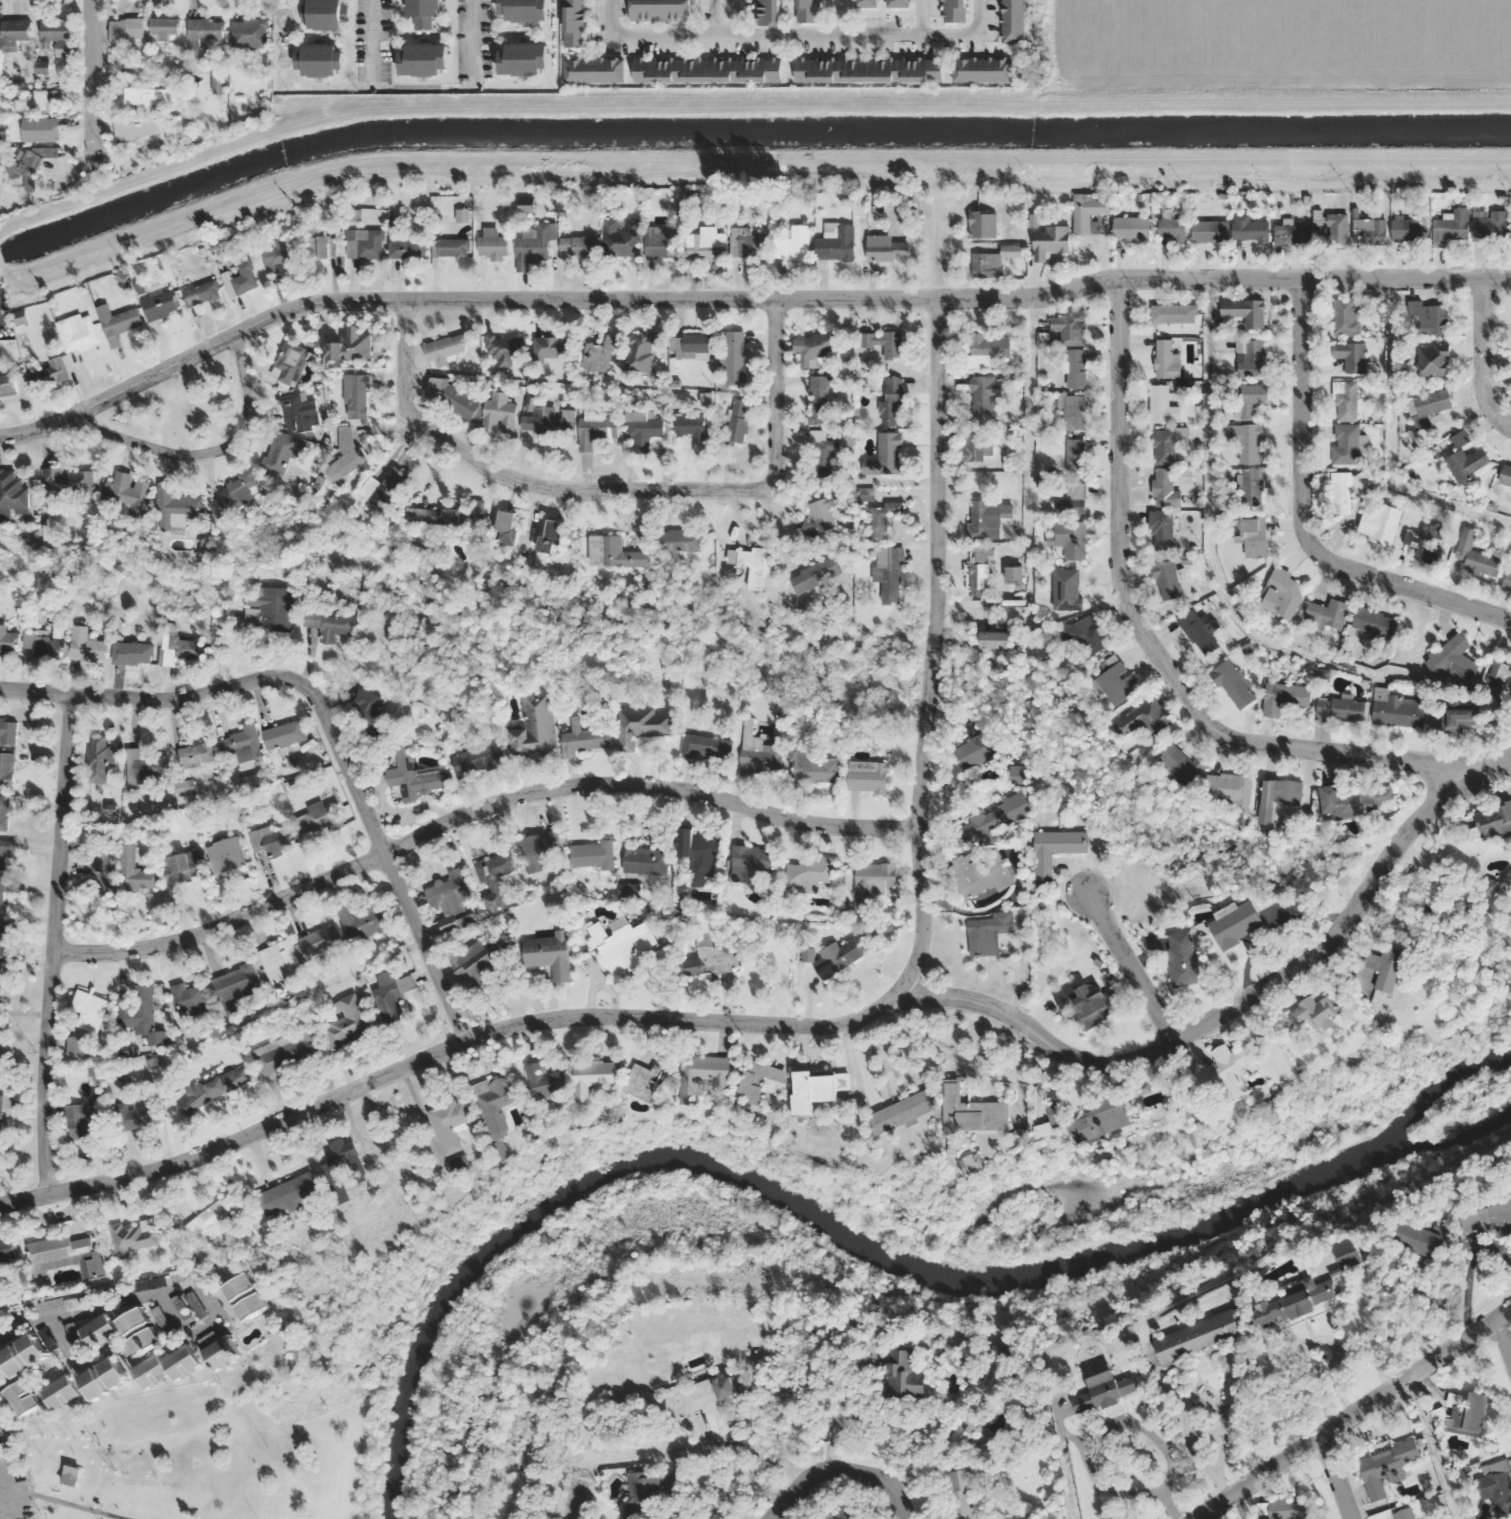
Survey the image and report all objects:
building: (864, 3)
building: (897, 3)
building: (522, 10)
building: (660, 10)
building: (954, 10)
building: (807, 11)
building: (423, 12)
building: (767, 12)
building: (321, 14)
road: (710, 17)
road: (736, 17)
road: (842, 17)
road: (920, 17)
building: (1012, 21)
building: (574, 22)
building: (165, 28)
building: (55, 29)
building: (125, 29)
building: (204, 30)
building: (14, 32)
building: (249, 32)
road: (789, 34)
road: (472, 36)
road: (373, 40)
building: (423, 58)
building: (522, 58)
building: (319, 59)
building: (114, 66)
building: (41, 68)
building: (868, 68)
building: (706, 69)
building: (982, 69)
building: (592, 70)
road: (93, 75)
building: (148, 97)
building: (39, 101)
building: (136, 128)
building: (40, 129)
building: (25, 162)
building: (1087, 213)
building: (983, 224)
building: (1510, 225)
building: (1490, 226)
building: (1128, 227)
building: (1337, 227)
building: (1451, 227)
building: (1173, 228)
building: (1252, 228)
building: (1410, 228)
building: (1211, 230)
building: (1372, 230)
building: (1292, 233)
building: (623, 236)
building: (709, 237)
building: (660, 241)
building: (1049, 241)
building: (364, 243)
building: (400, 243)
building: (749, 244)
building: (795, 244)
building: (836, 244)
building: (493, 245)
building: (577, 245)
building: (321, 246)
building: (533, 246)
building: (452, 248)
building: (886, 248)
building: (276, 256)
building: (986, 262)
building: (244, 278)
building: (201, 293)
road: (742, 296)
building: (160, 305)
building: (1245, 311)
building: (1174, 313)
building: (24, 314)
building: (1346, 317)
building: (1429, 317)
building: (117, 322)
building: (1069, 327)
building: (77, 332)
building: (656, 340)
building: (884, 342)
building: (351, 346)
building: (695, 346)
building: (813, 346)
building: (553, 347)
building: (445, 348)
building: (506, 349)
building: (987, 349)
building: (636, 353)
building: (597, 355)
building: (1350, 355)
road: (1481, 355)
building: (735, 356)
building: (1250, 357)
building: (1433, 359)
building: (1166, 360)
building: (291, 363)
building: (1076, 368)
building: (45, 370)
building: (7, 385)
building: (984, 395)
building: (357, 396)
building: (1251, 398)
building: (1347, 398)
building: (452, 399)
building: (818, 399)
building: (891, 400)
building: (1159, 402)
park: (182, 405)
building: (1429, 405)
building: (298, 412)
building: (1074, 412)
building: (499, 414)
building: (567, 420)
building: (539, 421)
building: (738, 422)
building: (688, 425)
building: (596, 428)
building: (643, 429)
building: (1246, 441)
building: (1346, 443)
building: (974, 446)
building: (1164, 447)
road: (203, 451)
building: (284, 452)
building: (820, 453)
building: (1075, 456)
building: (885, 457)
building: (1465, 457)
building: (1505, 475)
building: (68, 479)
building: (382, 486)
building: (1251, 487)
building: (1347, 487)
building: (1164, 488)
road: (616, 490)
building: (128, 491)
building: (237, 491)
building: (11, 493)
building: (1072, 498)
building: (175, 508)
building: (448, 515)
building: (883, 518)
building: (988, 518)
road: (1302, 518)
building: (1380, 524)
building: (505, 528)
building: (1162, 530)
building: (552, 536)
building: (1255, 537)
building: (1071, 539)
building: (681, 540)
building: (1429, 543)
building: (615, 553)
building: (1475, 555)
building: (751, 565)
building: (887, 572)
building: (980, 572)
building: (815, 575)
building: (1014, 575)
building: (1167, 580)
building: (1507, 581)
building: (1069, 589)
building: (1282, 593)
building: (269, 607)
road: (936, 609)
building: (1328, 614)
building: (1375, 622)
building: (329, 625)
building: (1199, 631)
building: (1089, 635)
building: (8, 640)
building: (996, 640)
building: (86, 645)
building: (45, 646)
building: (184, 647)
road: (1156, 649)
building: (133, 653)
building: (1454, 658)
building: (1501, 669)
building: (1116, 683)
building: (1233, 684)
building: (1285, 697)
building: (367, 709)
building: (1339, 709)
building: (1397, 709)
building: (1459, 716)
road: (327, 719)
building: (1144, 719)
building: (640, 725)
building: (535, 728)
building: (8, 731)
building: (284, 733)
building: (583, 739)
building: (239, 741)
building: (706, 747)
building: (976, 751)
building: (200, 753)
building: (758, 754)
building: (98, 758)
building: (476, 759)
building: (146, 766)
building: (1180, 766)
building: (811, 767)
building: (6, 768)
building: (412, 774)
building: (867, 776)
building: (1233, 787)
building: (1281, 792)
building: (1358, 798)
road: (477, 811)
building: (4, 812)
building: (319, 818)
building: (993, 818)
building: (1494, 820)
building: (271, 839)
building: (540, 848)
building: (1054, 849)
building: (6, 850)
building: (226, 854)
building: (698, 854)
building: (592, 855)
building: (645, 860)
building: (750, 860)
building: (102, 867)
building: (182, 869)
building: (135, 871)
building: (808, 874)
building: (980, 874)
building: (494, 877)
building: (871, 884)
building: (2, 895)
building: (451, 899)
building: (362, 922)
building: (1235, 923)
building: (988, 930)
building: (2, 936)
building: (320, 940)
road: (56, 944)
building: (620, 947)
building: (549, 953)
building: (840, 956)
building: (481, 957)
building: (1182, 958)
building: (708, 959)
building: (279, 961)
road: (1131, 961)
building: (234, 985)
building: (391, 995)
building: (188, 998)
building: (1090, 1002)
building: (87, 1011)
building: (1312, 1011)
building: (138, 1014)
building: (347, 1021)
road: (809, 1025)
building: (74, 1046)
building: (285, 1050)
building: (1227, 1071)
building: (702, 1074)
building: (592, 1077)
building: (758, 1079)
building: (543, 1080)
building: (644, 1081)
building: (816, 1085)
building: (215, 1087)
building: (494, 1106)
building: (0, 1107)
building: (900, 1111)
building: (972, 1111)
building: (1055, 1112)
building: (138, 1113)
building: (86, 1118)
building: (1100, 1118)
building: (449, 1124)
building: (287, 1195)
building: (1486, 1217)
building: (213, 1222)
building: (133, 1236)
building: (1417, 1239)
building: (7, 1250)
building: (1347, 1252)
building: (68, 1254)
building: (242, 1296)
building: (1294, 1301)
road: (80, 1311)
road: (213, 1317)
building: (139, 1330)
building: (99, 1331)
road: (62, 1334)
building: (1198, 1335)
road: (1504, 1335)
building: (280, 1339)
building: (218, 1346)
building: (22, 1354)
building: (166, 1366)
building: (904, 1374)
building: (102, 1377)
building: (1105, 1390)
building: (60, 1391)
building: (711, 1392)
building: (20, 1398)
road: (1350, 1413)
building: (1464, 1415)
park: (216, 1446)
road: (1432, 1447)
building: (2, 1449)
building: (1385, 1467)
road: (838, 1473)
road: (1335, 1476)
building: (1497, 1485)
road: (1064, 1486)
parking lot: (15, 1490)
road: (13, 1492)
building: (958, 1494)
road: (22, 1495)
building: (640, 1497)
road: (1235, 1504)
road: (79, 1506)
building: (1284, 1508)
building: (1405, 1513)
building: (841, 1515)

